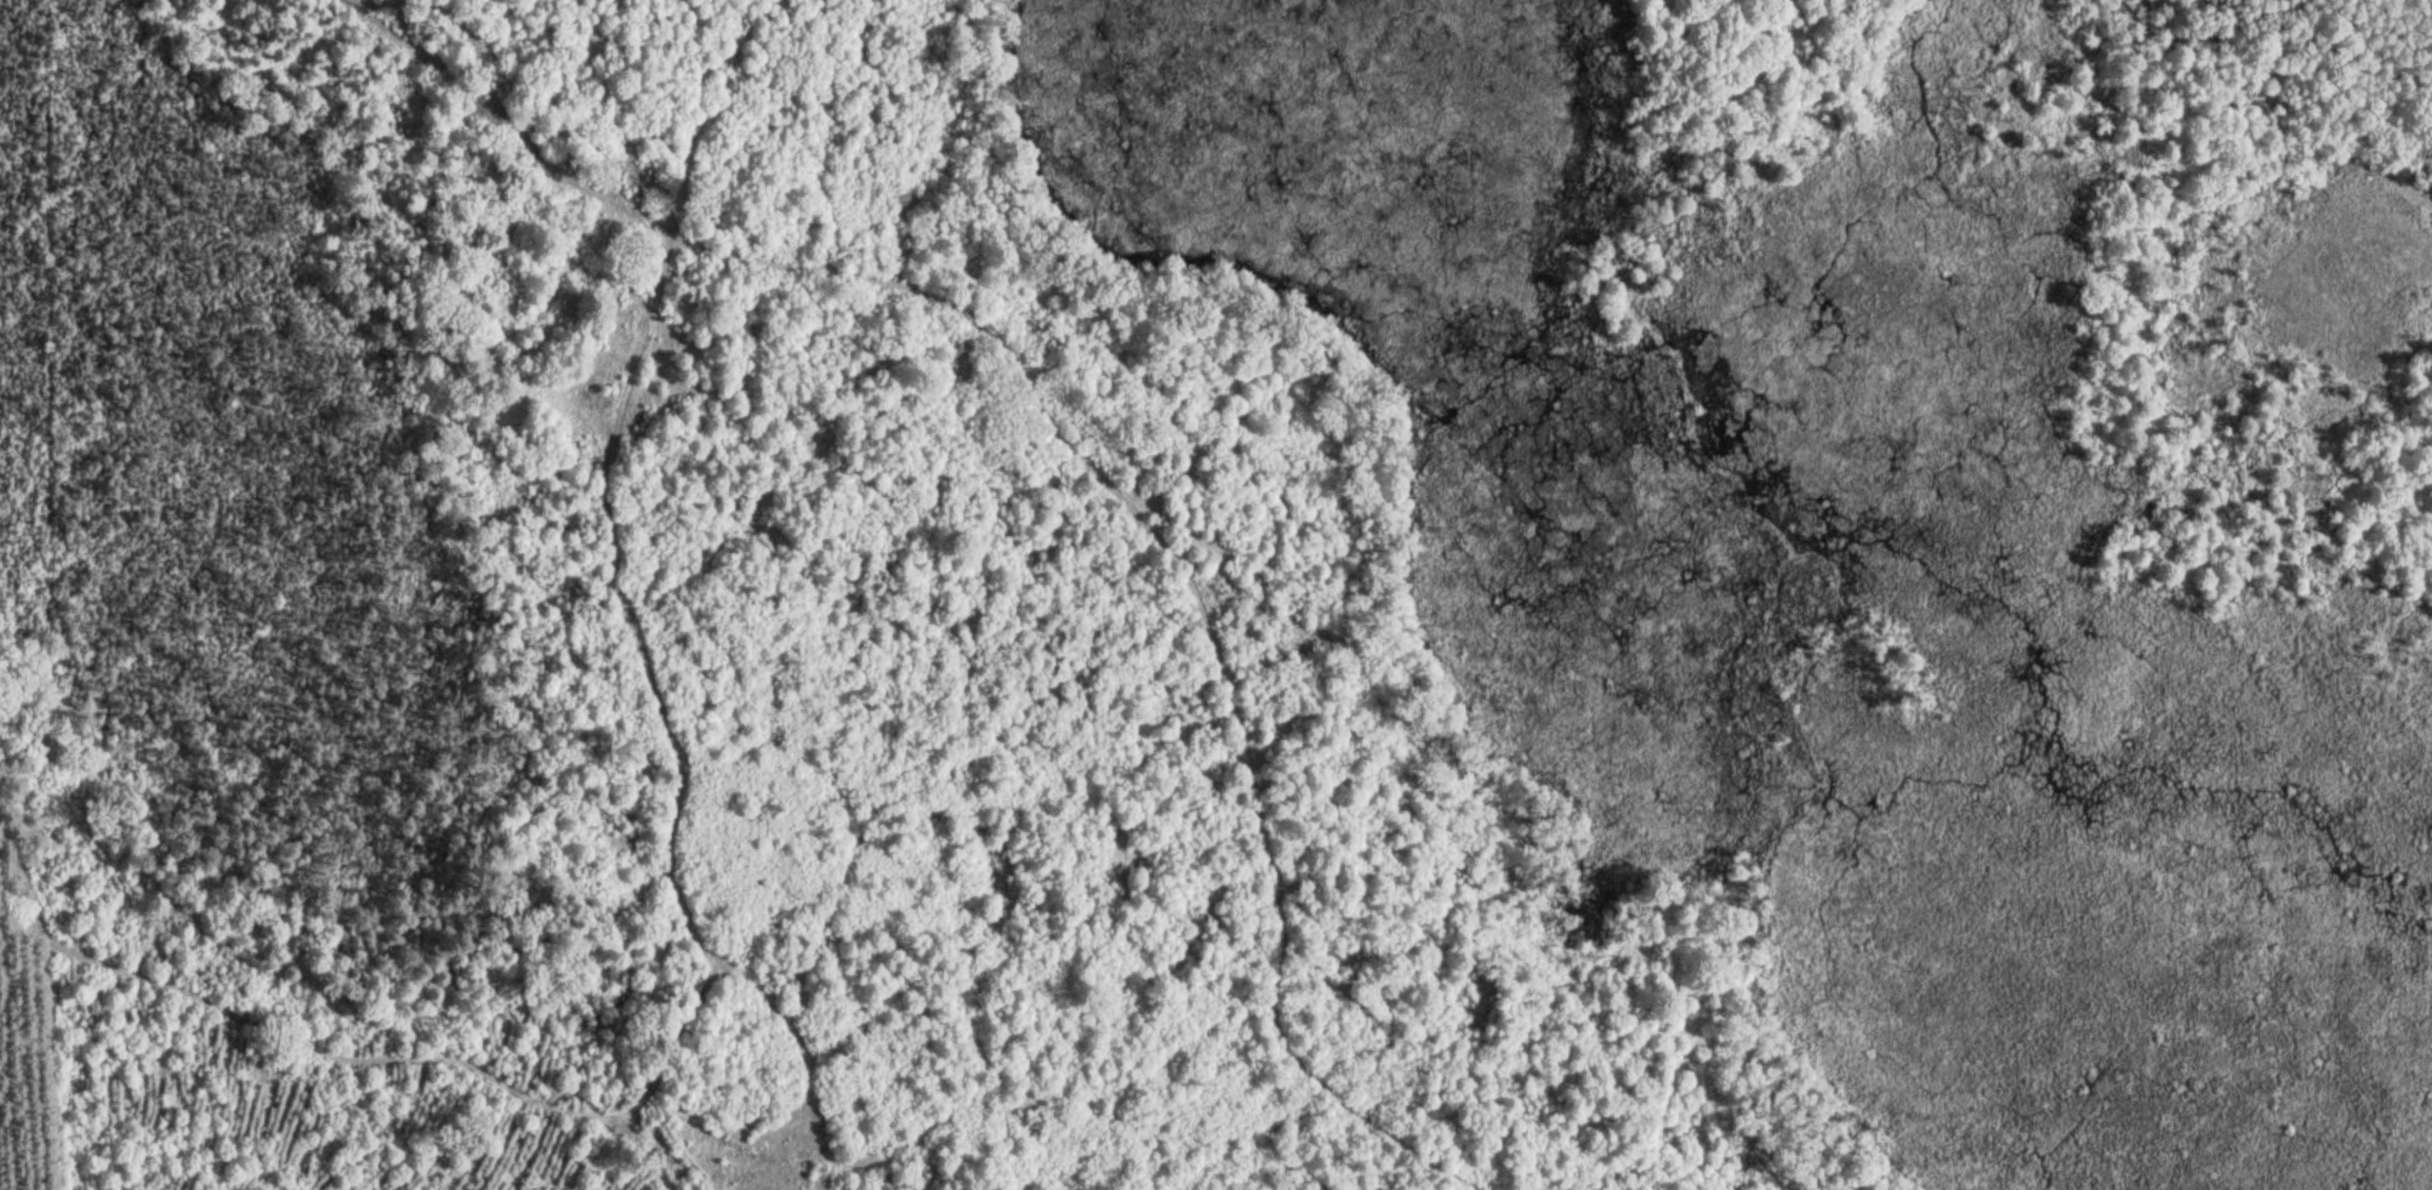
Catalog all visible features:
road: (511, 118)
road: (871, 289)
road: (267, 1019)
road: (645, 1152)

